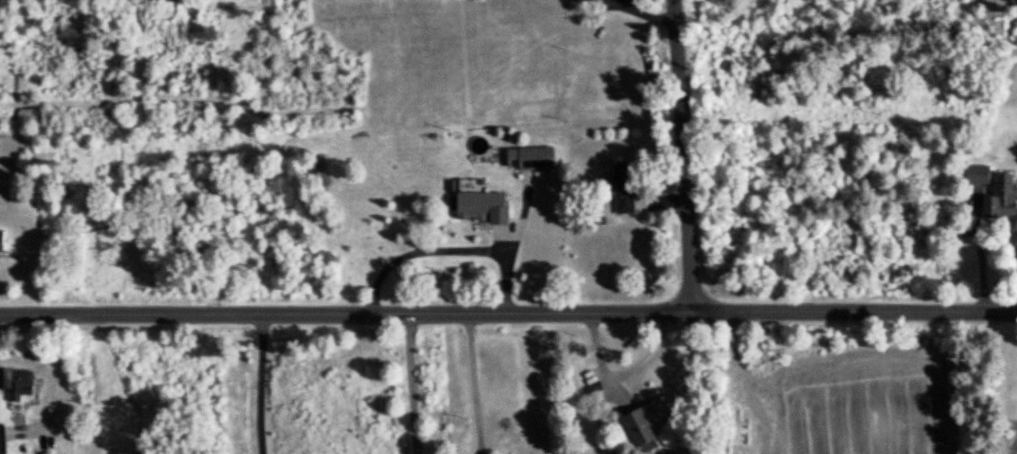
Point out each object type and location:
road: (682, 155)
building: (529, 156)
building: (976, 172)
building: (622, 185)
building: (1001, 196)
building: (481, 205)
building: (1, 238)
road: (448, 254)
road: (982, 255)
road: (508, 311)
building: (19, 383)
road: (258, 383)
road: (412, 383)
road: (475, 383)
road: (53, 387)
crop: (869, 401)
building: (640, 428)
building: (2, 439)

